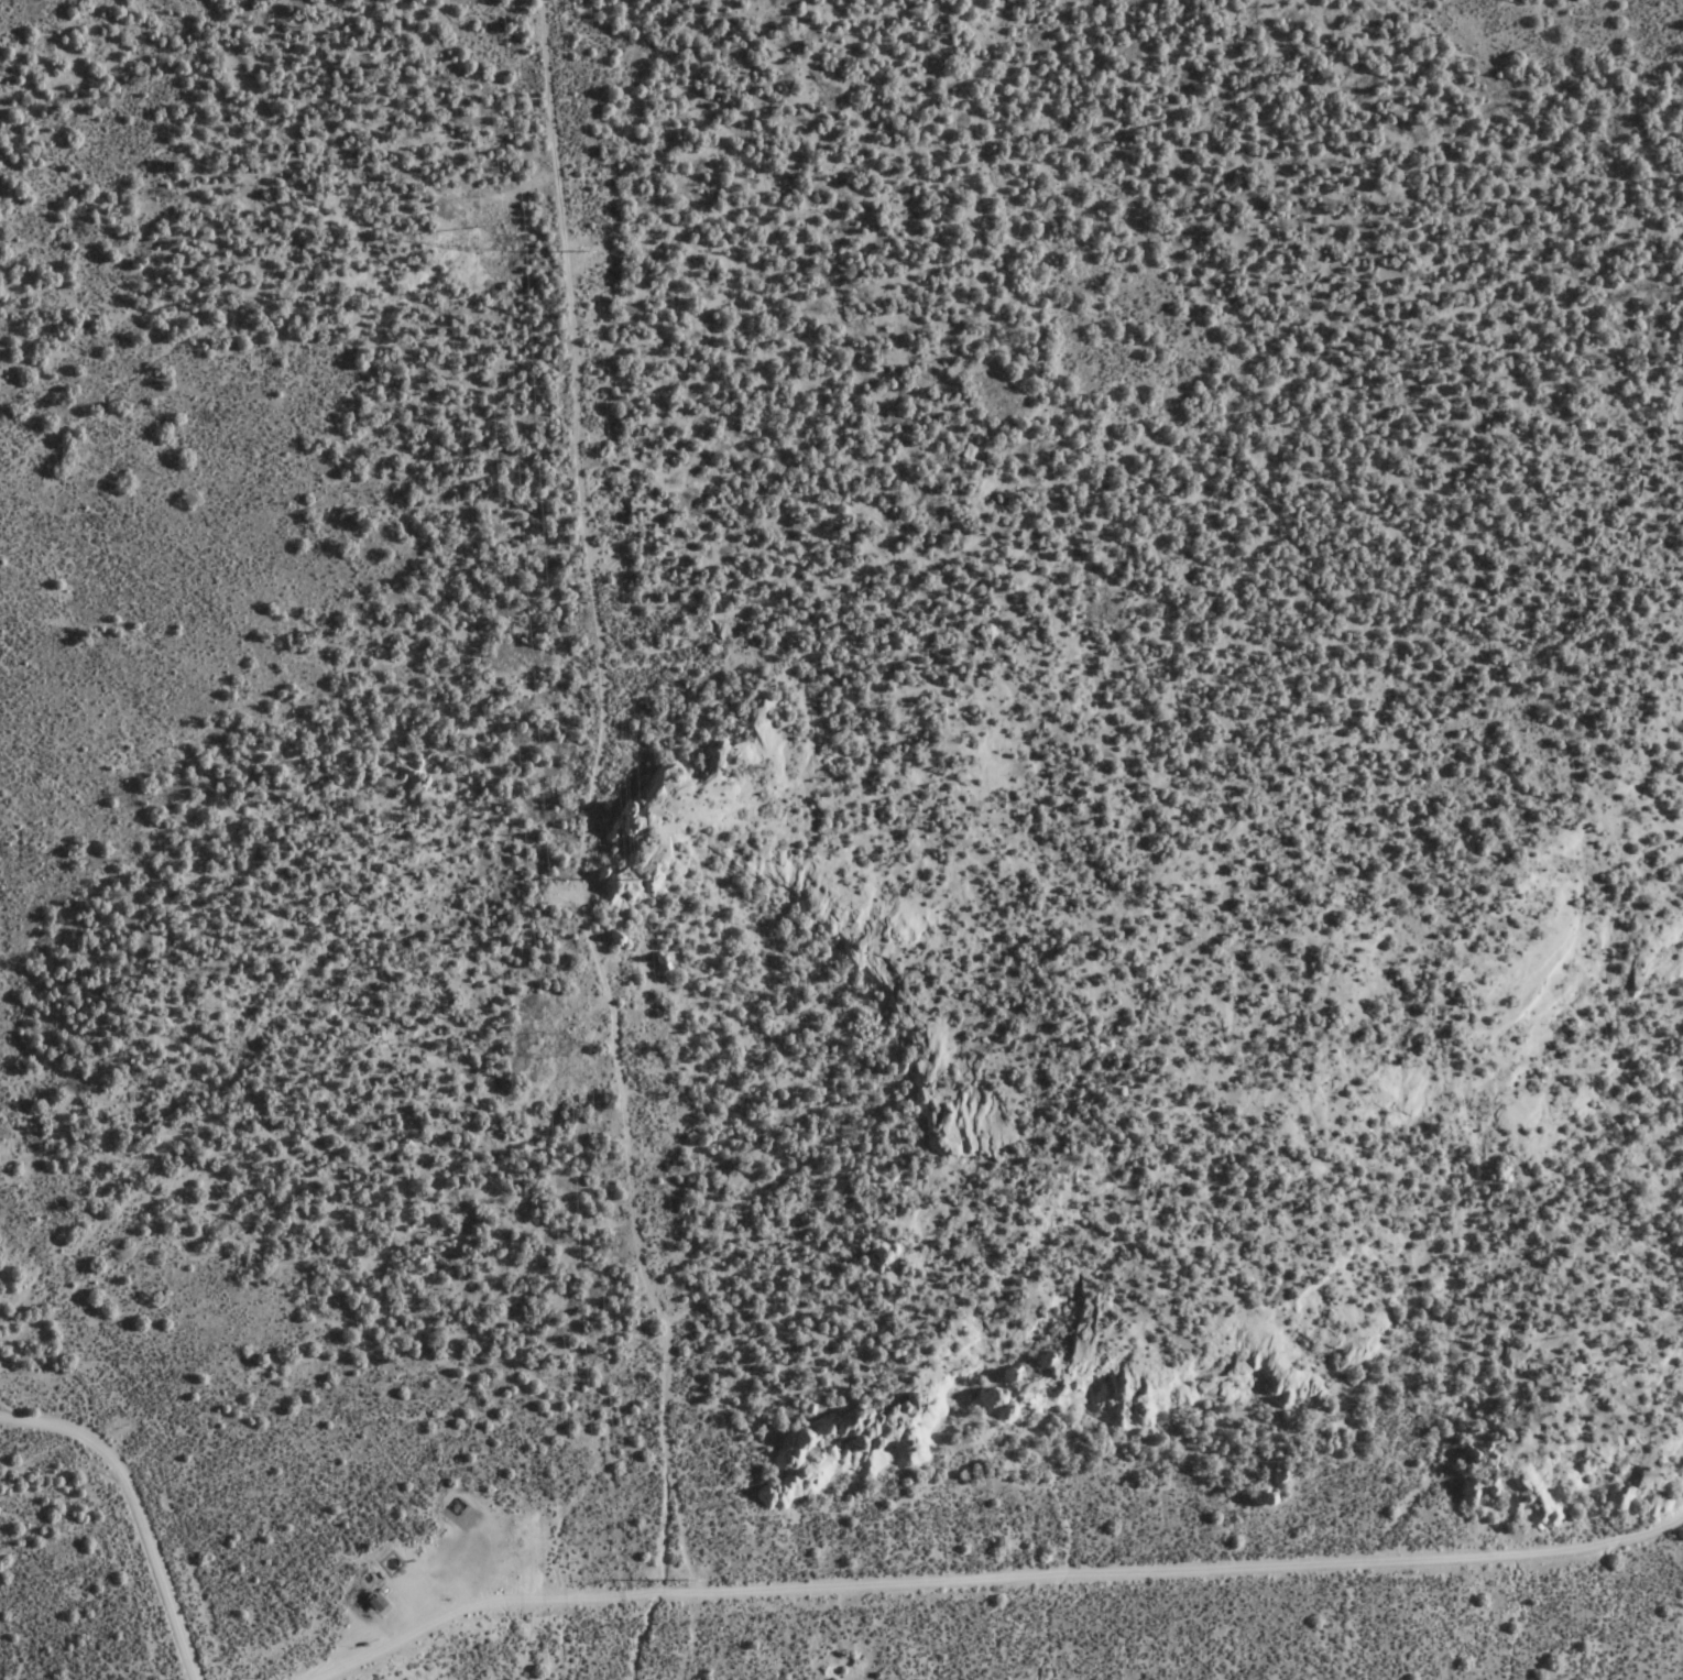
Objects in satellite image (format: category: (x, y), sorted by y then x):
power tower: (483, 237)
road: (19, 1339)
road: (105, 1527)

